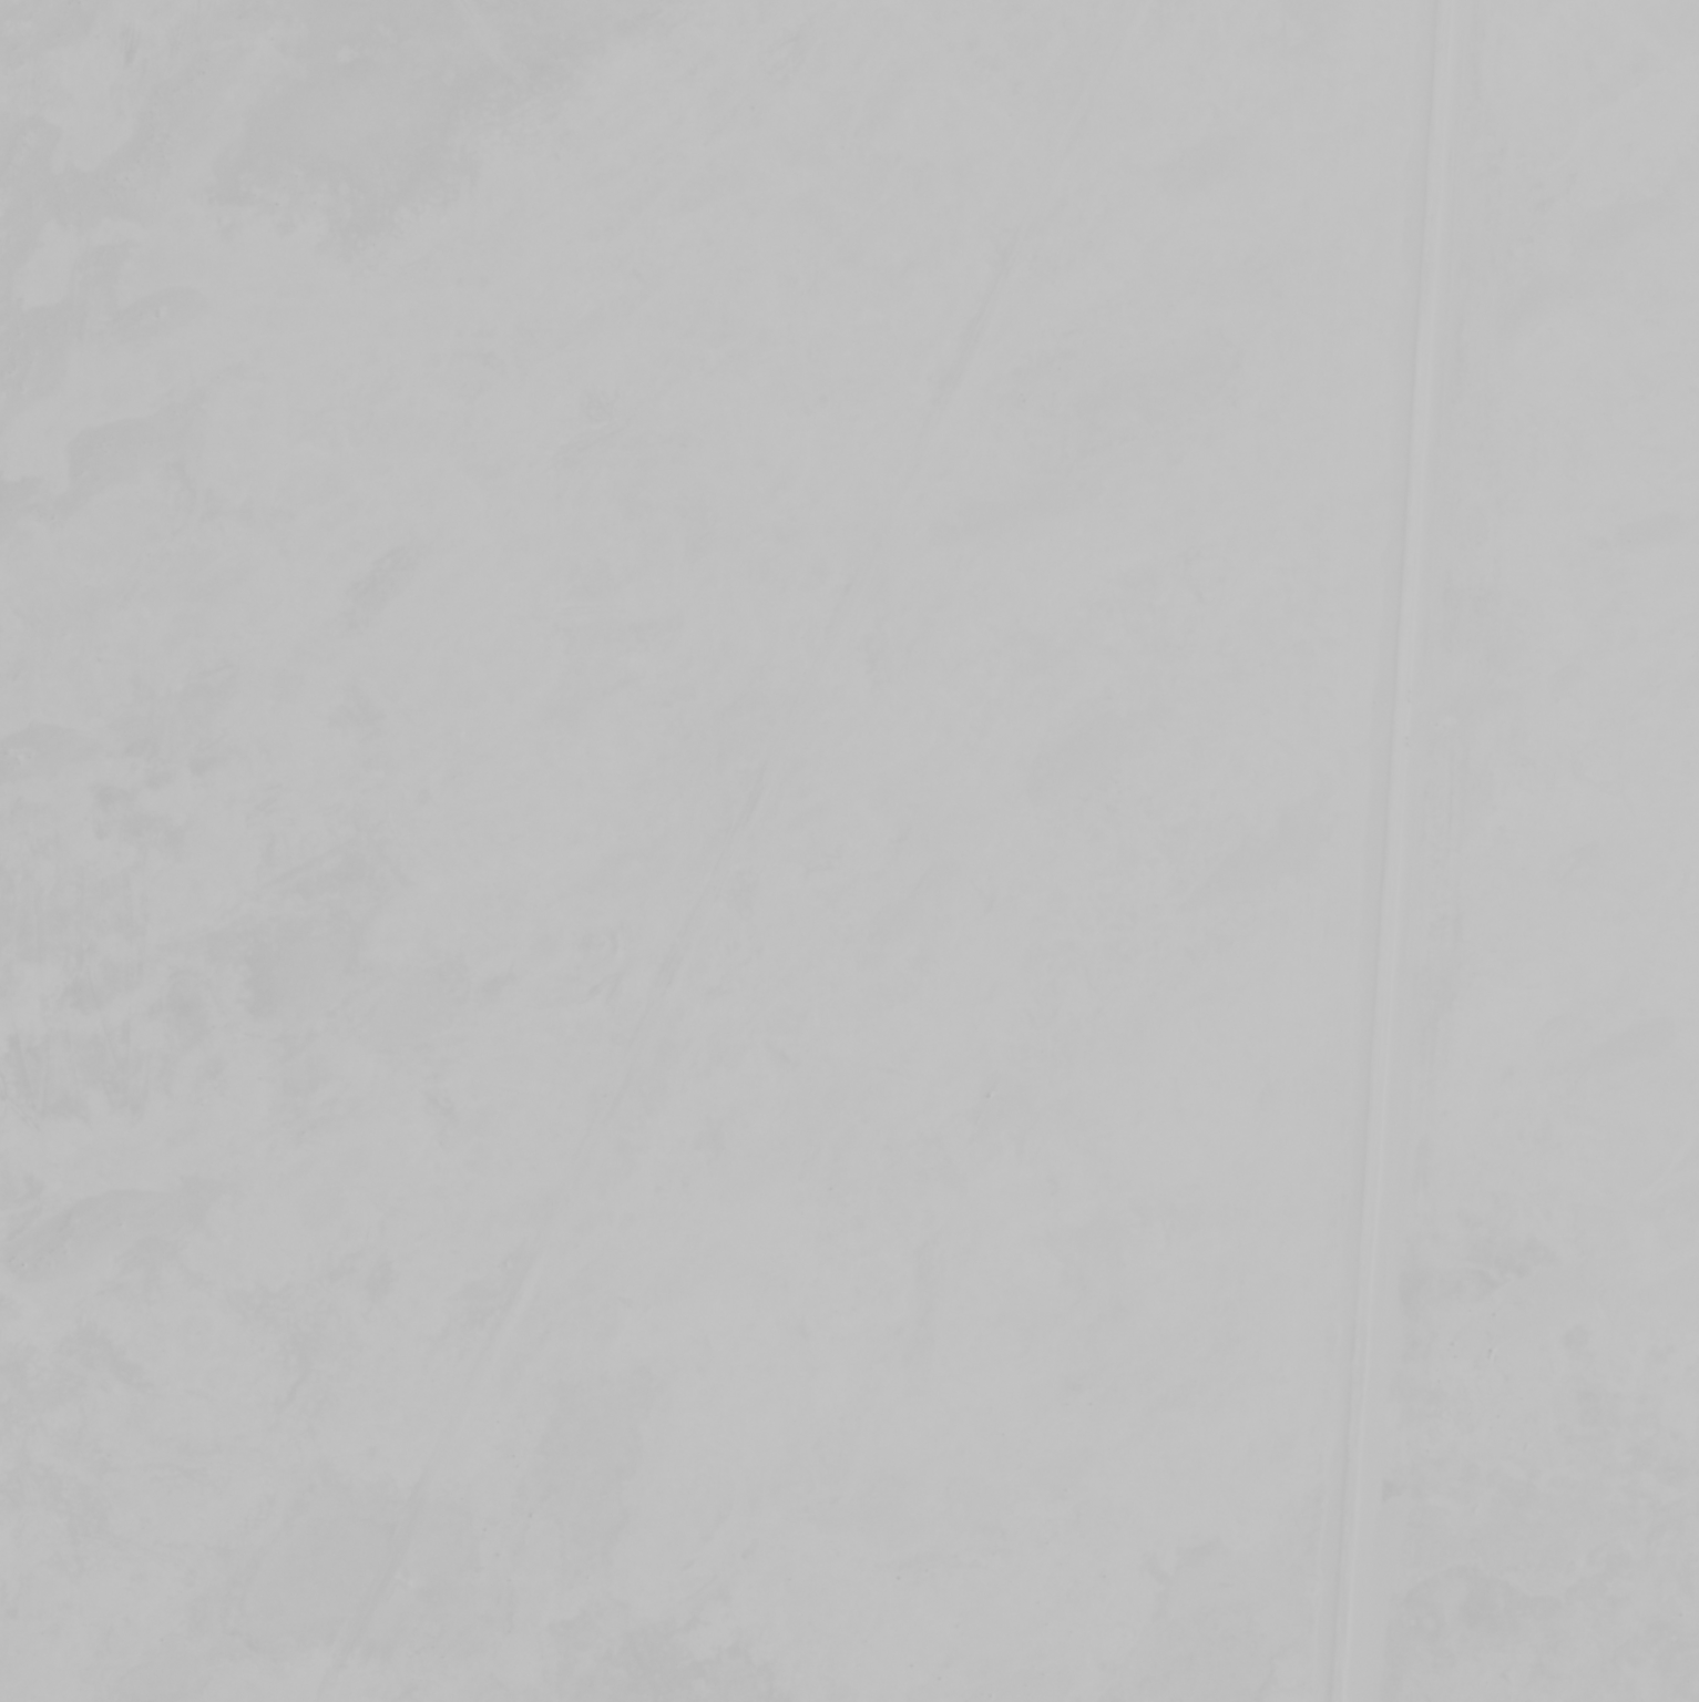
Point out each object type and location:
building: (1199, 105)
building: (146, 171)
building: (357, 268)
building: (1157, 268)
building: (187, 423)
building: (1095, 599)
road: (1393, 851)
building: (186, 952)
building: (27, 1231)
building: (20, 1477)
building: (99, 1604)
building: (57, 1652)

